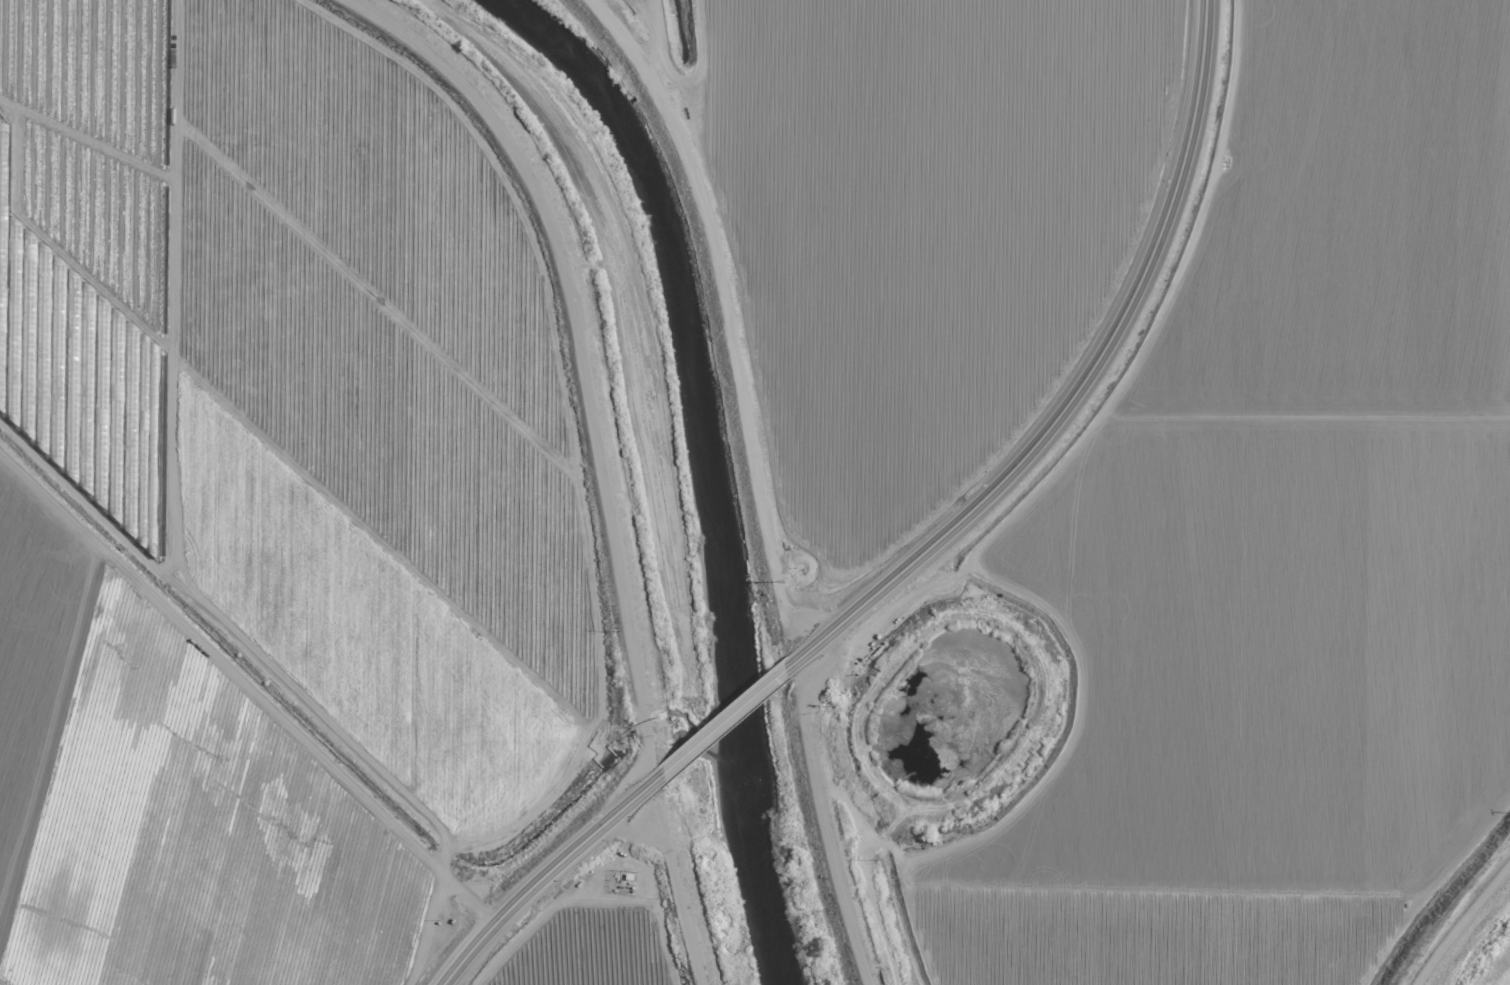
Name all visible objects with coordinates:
crop: (917, 227)
road: (581, 361)
road: (1078, 385)
crop: (263, 501)
crop: (1180, 606)
road: (722, 722)
road: (545, 874)

